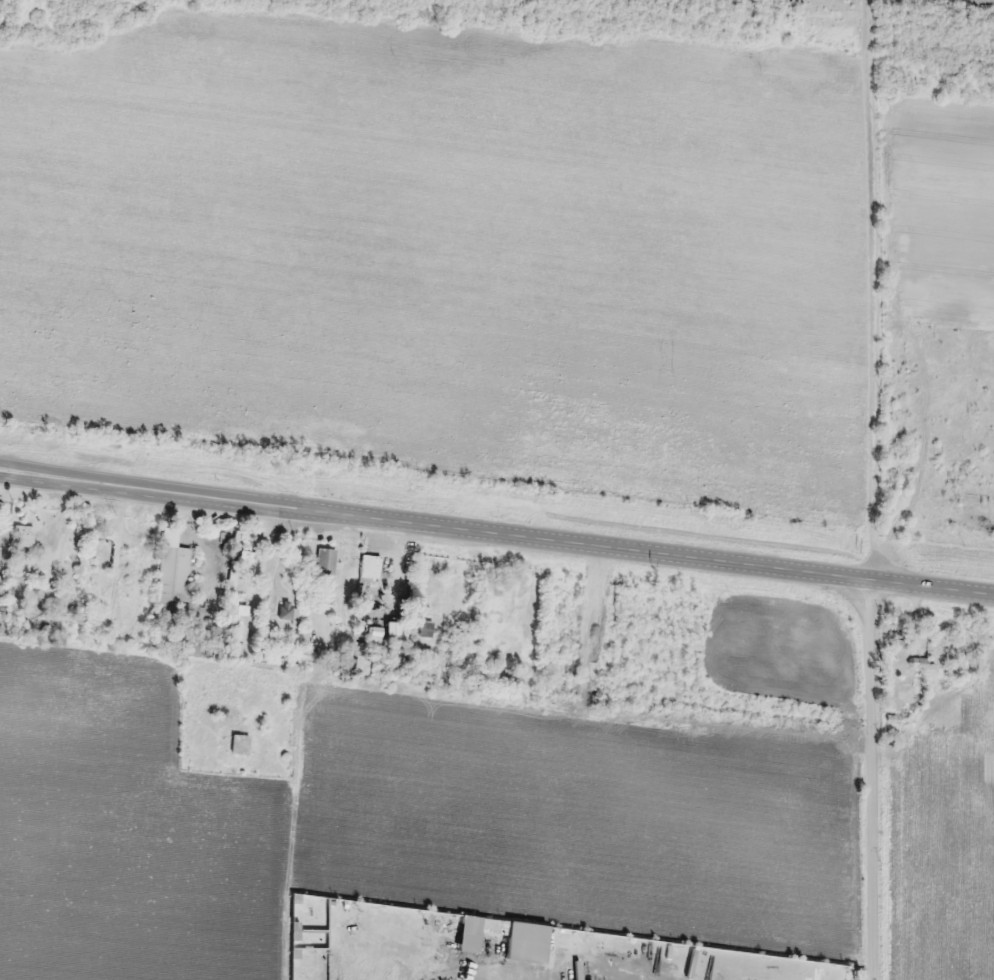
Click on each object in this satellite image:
road: (876, 490)
road: (935, 590)

